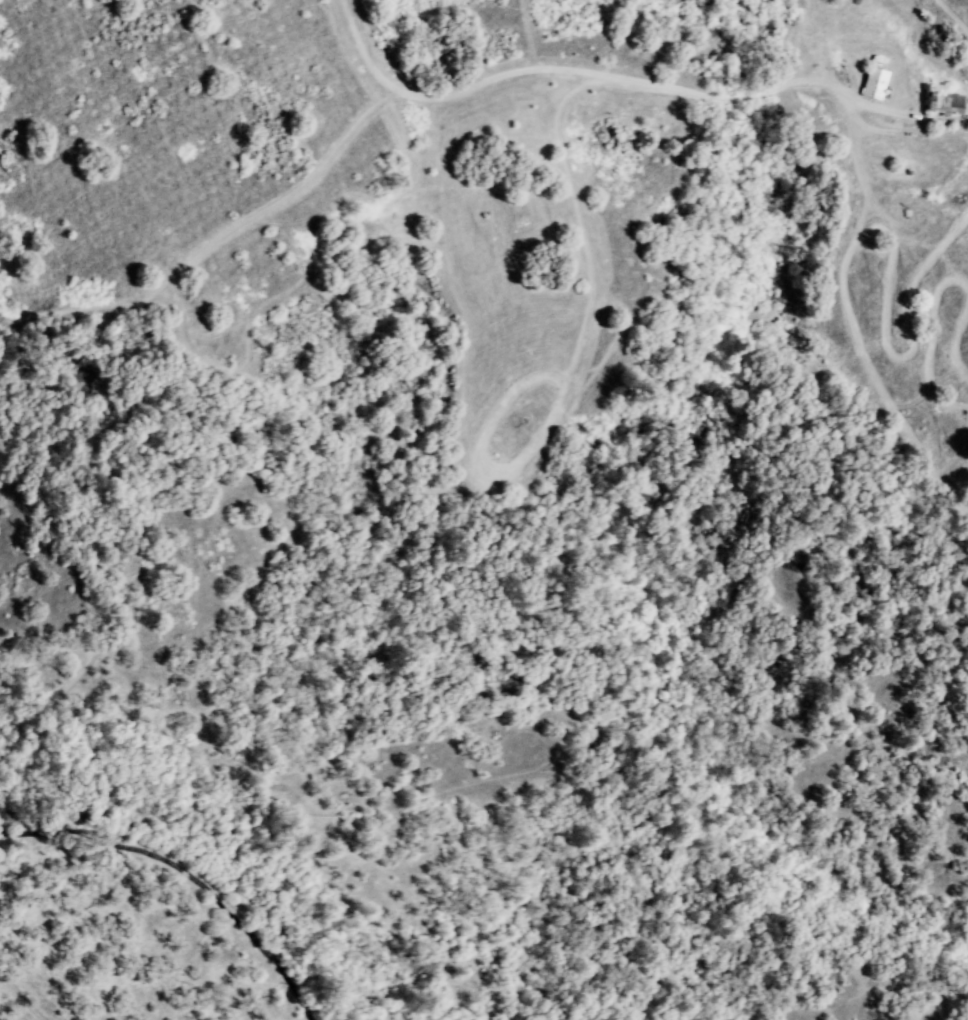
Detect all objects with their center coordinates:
road: (599, 75)
building: (872, 83)
building: (941, 101)

